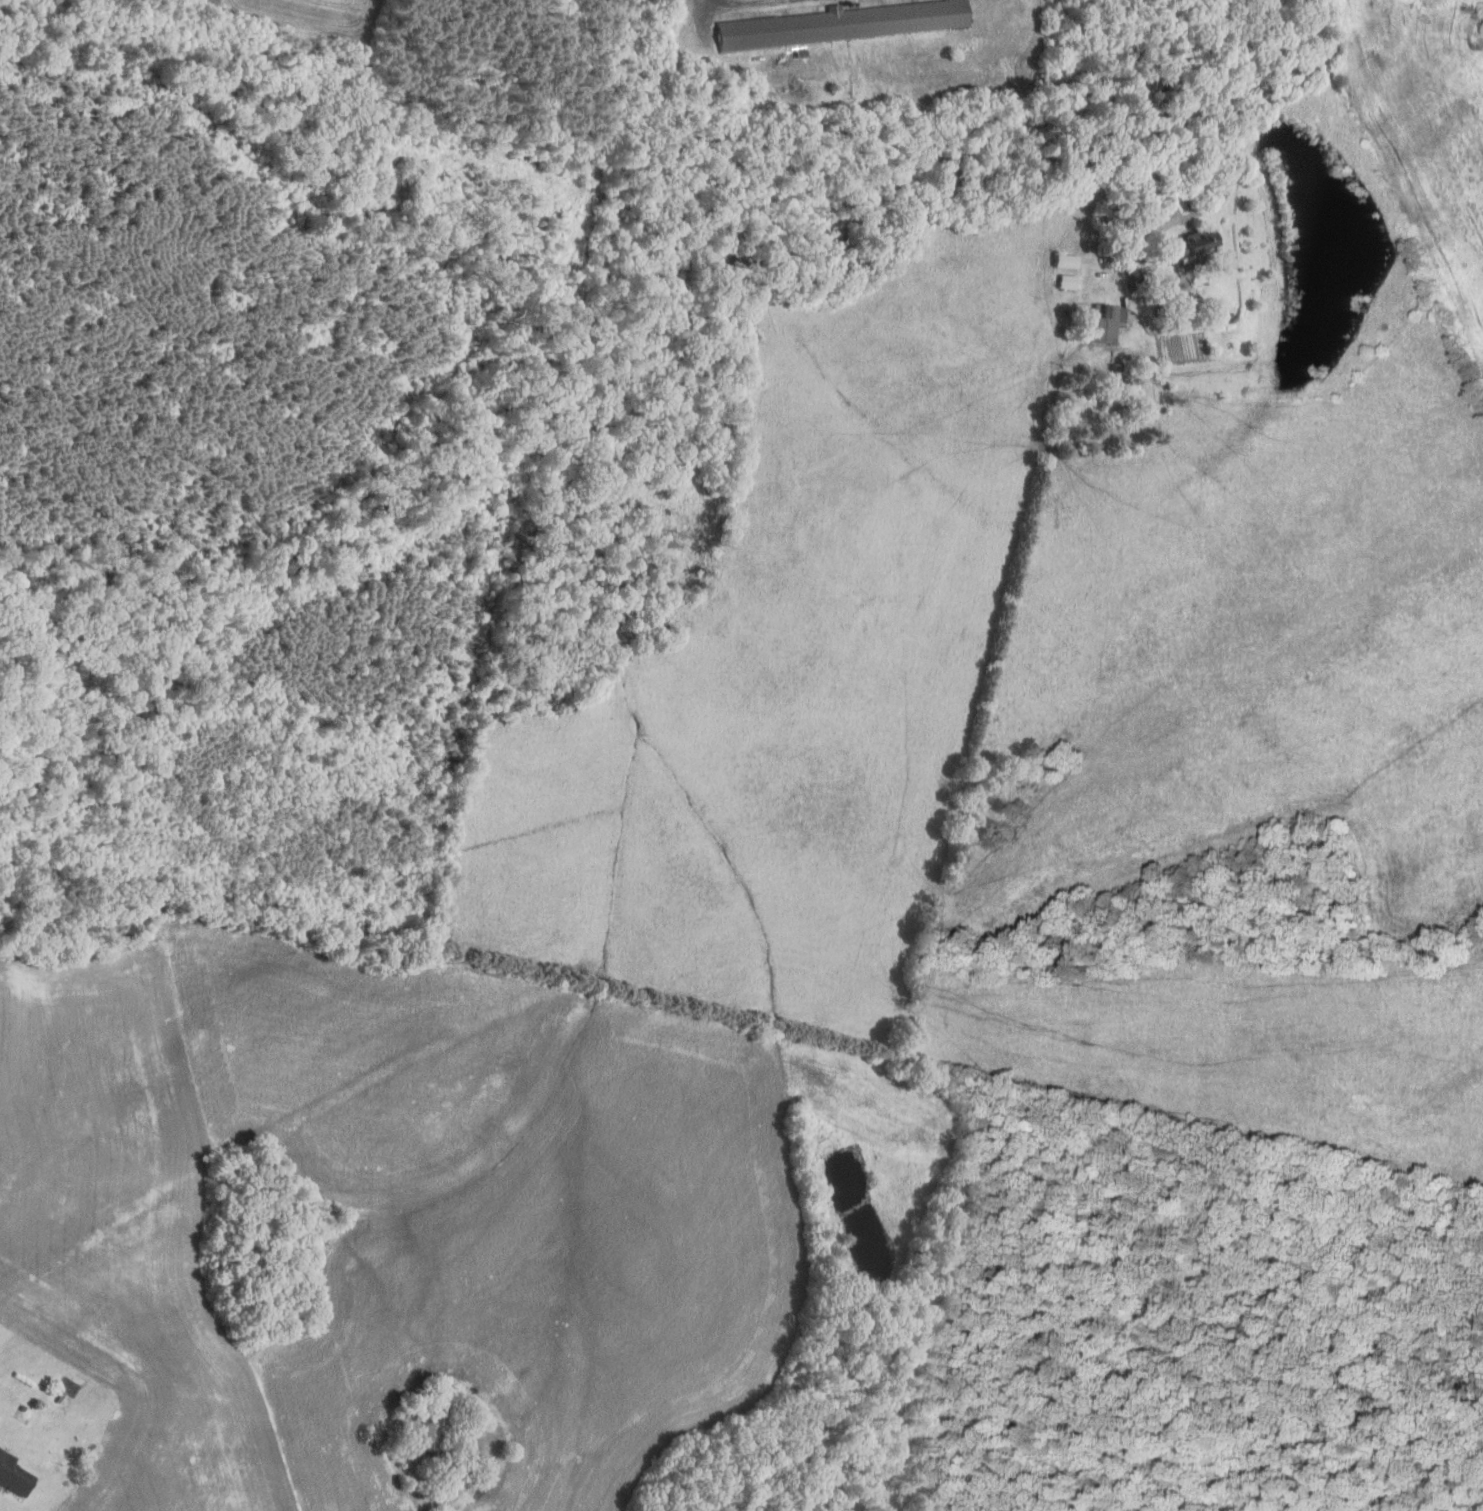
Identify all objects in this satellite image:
road: (705, 7)
building: (841, 25)
road: (1246, 117)
building: (1192, 246)
building: (1066, 262)
building: (1134, 281)
building: (1068, 283)
building: (1106, 325)
building: (1117, 369)
building: (452, 1402)
building: (23, 1407)
building: (430, 1434)
building: (14, 1475)
road: (439, 1486)

